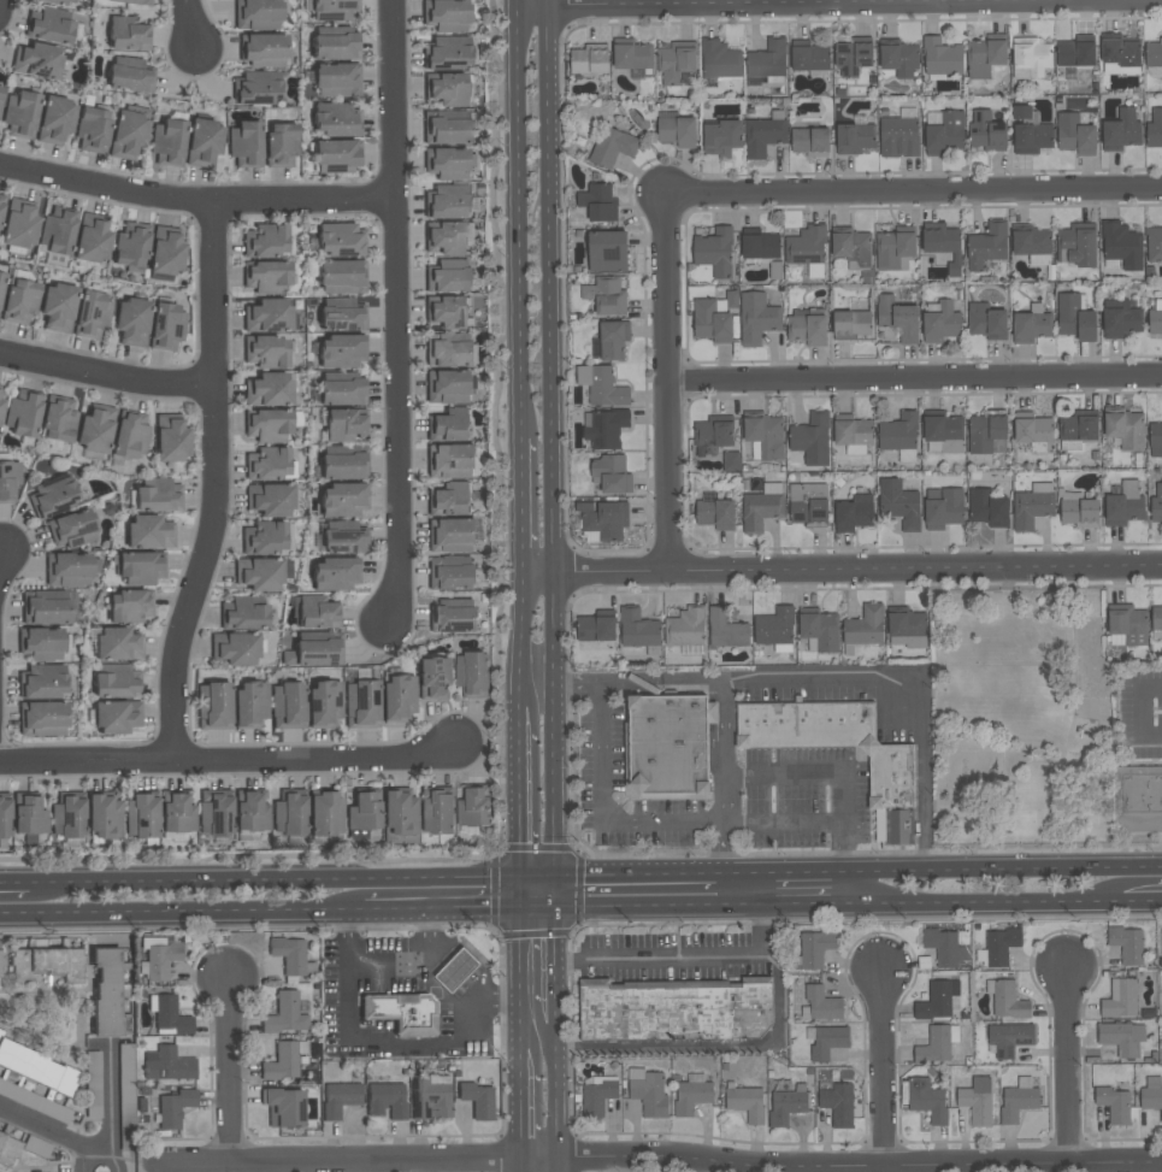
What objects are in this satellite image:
building: (131, 1)
building: (60, 2)
road: (518, 4)
road: (839, 5)
building: (334, 10)
building: (256, 13)
building: (446, 14)
road: (190, 25)
building: (51, 26)
building: (126, 34)
building: (335, 47)
building: (263, 49)
building: (447, 52)
building: (1077, 52)
building: (1121, 52)
building: (985, 55)
building: (632, 57)
building: (853, 57)
building: (809, 58)
building: (899, 58)
building: (940, 58)
building: (1030, 58)
building: (589, 59)
building: (1154, 59)
building: (36, 60)
building: (720, 60)
building: (676, 61)
building: (766, 63)
building: (130, 78)
building: (335, 81)
building: (256, 88)
building: (446, 88)
building: (0, 94)
building: (20, 113)
building: (334, 119)
building: (55, 120)
building: (92, 129)
building: (1155, 129)
building: (447, 131)
building: (677, 131)
building: (986, 131)
building: (1030, 131)
building: (1121, 131)
building: (944, 132)
building: (1075, 134)
building: (128, 135)
building: (899, 135)
building: (763, 136)
building: (721, 139)
building: (854, 139)
building: (809, 140)
building: (204, 142)
building: (167, 143)
building: (244, 143)
building: (281, 145)
building: (612, 147)
building: (335, 155)
building: (447, 164)
road: (910, 192)
road: (194, 201)
building: (448, 201)
building: (598, 202)
road: (520, 220)
building: (19, 224)
building: (57, 230)
building: (92, 238)
building: (446, 238)
building: (338, 240)
building: (264, 241)
building: (130, 245)
building: (1080, 245)
building: (1154, 245)
building: (761, 246)
building: (944, 246)
building: (1032, 246)
building: (986, 247)
building: (895, 248)
building: (1121, 248)
building: (853, 249)
building: (807, 251)
building: (166, 252)
building: (607, 252)
building: (714, 252)
building: (266, 276)
building: (341, 277)
building: (449, 277)
building: (1, 281)
building: (606, 296)
building: (19, 302)
building: (57, 307)
road: (393, 310)
building: (448, 312)
building: (93, 314)
building: (269, 316)
building: (342, 316)
building: (757, 318)
building: (897, 318)
building: (1075, 318)
building: (1120, 319)
building: (1155, 320)
building: (131, 322)
building: (986, 322)
building: (710, 323)
building: (942, 323)
building: (851, 324)
building: (166, 326)
building: (1030, 326)
building: (807, 330)
building: (613, 340)
building: (265, 351)
building: (341, 351)
building: (449, 351)
road: (108, 372)
road: (666, 382)
road: (914, 382)
building: (602, 385)
building: (448, 387)
building: (269, 390)
building: (342, 393)
building: (0, 407)
building: (23, 413)
building: (58, 419)
building: (267, 425)
building: (344, 425)
building: (448, 425)
building: (95, 429)
building: (606, 429)
building: (1032, 429)
building: (1077, 429)
building: (1125, 429)
building: (853, 431)
building: (986, 431)
building: (714, 432)
building: (130, 435)
building: (943, 435)
building: (1155, 435)
building: (899, 436)
building: (763, 437)
building: (171, 438)
building: (812, 440)
road: (553, 444)
building: (450, 461)
building: (731, 461)
building: (267, 464)
building: (342, 466)
building: (612, 475)
building: (8, 479)
road: (216, 485)
building: (157, 495)
building: (52, 496)
building: (269, 500)
building: (342, 500)
building: (449, 500)
road: (524, 503)
building: (808, 503)
building: (899, 503)
building: (1125, 505)
building: (1032, 506)
building: (1156, 506)
building: (762, 508)
building: (943, 508)
building: (987, 508)
building: (1078, 510)
building: (715, 514)
building: (854, 514)
building: (604, 520)
building: (71, 529)
building: (149, 532)
building: (450, 535)
building: (263, 538)
road: (1, 556)
building: (138, 567)
building: (67, 570)
building: (259, 573)
building: (335, 573)
building: (450, 573)
road: (843, 573)
road: (1043, 605)
building: (128, 606)
building: (46, 607)
building: (243, 613)
building: (317, 613)
building: (452, 619)
building: (1156, 619)
building: (774, 626)
building: (865, 626)
building: (1126, 626)
building: (685, 628)
building: (595, 629)
building: (638, 629)
building: (726, 629)
building: (908, 629)
building: (819, 631)
building: (1090, 636)
road: (525, 640)
building: (41, 643)
building: (117, 644)
building: (235, 648)
building: (313, 653)
road: (1077, 655)
road: (1005, 664)
road: (1061, 669)
building: (472, 675)
building: (433, 679)
building: (41, 682)
building: (114, 682)
building: (1096, 682)
road: (541, 684)
road: (908, 689)
building: (397, 699)
road: (725, 701)
building: (250, 703)
building: (324, 703)
building: (361, 705)
building: (213, 706)
building: (287, 706)
road: (1145, 712)
building: (712, 713)
building: (1108, 717)
building: (42, 718)
building: (113, 718)
park: (1021, 720)
park: (1022, 722)
road: (491, 741)
building: (667, 746)
road: (230, 761)
road: (807, 775)
building: (890, 784)
road: (525, 797)
building: (1140, 800)
building: (473, 807)
road: (607, 808)
building: (250, 811)
building: (436, 811)
building: (176, 812)
building: (364, 812)
building: (214, 813)
building: (289, 813)
building: (324, 813)
building: (400, 813)
building: (29, 814)
building: (4, 815)
building: (67, 815)
building: (141, 815)
building: (102, 817)
road: (785, 823)
road: (842, 854)
road: (999, 868)
road: (299, 881)
road: (35, 883)
road: (807, 885)
road: (1117, 885)
road: (744, 887)
road: (637, 889)
traffic signals: (526, 890)
road: (542, 890)
traffic signals: (559, 890)
road: (1121, 900)
road: (958, 902)
road: (436, 906)
road: (170, 911)
building: (1126, 943)
building: (999, 946)
building: (945, 947)
building: (814, 948)
building: (158, 956)
building: (290, 956)
road: (696, 958)
building: (0, 962)
building: (45, 964)
road: (415, 964)
road: (526, 968)
road: (559, 968)
building: (456, 970)
building: (105, 990)
building: (1120, 999)
building: (937, 1000)
building: (1007, 1000)
building: (820, 1003)
building: (674, 1009)
building: (402, 1012)
building: (169, 1014)
building: (284, 1014)
building: (0, 1030)
building: (1008, 1037)
building: (1122, 1037)
road: (393, 1042)
building: (827, 1042)
road: (712, 1044)
building: (936, 1044)
road: (542, 1046)
building: (283, 1060)
building: (167, 1064)
road: (231, 1066)
road: (1066, 1066)
building: (37, 1067)
road: (881, 1070)
building: (92, 1085)
building: (648, 1091)
building: (597, 1094)
building: (691, 1094)
building: (430, 1095)
building: (1151, 1095)
building: (338, 1099)
building: (477, 1099)
building: (975, 1099)
building: (126, 1100)
building: (387, 1100)
building: (926, 1100)
building: (1018, 1100)
road: (525, 1102)
road: (559, 1102)
building: (745, 1103)
building: (1113, 1103)
building: (786, 1105)
building: (837, 1105)
building: (283, 1107)
building: (169, 1108)
road: (105, 1146)
building: (7, 1149)
road: (82, 1155)
road: (663, 1156)
road: (117, 1160)
road: (559, 1164)
road: (525, 1165)

